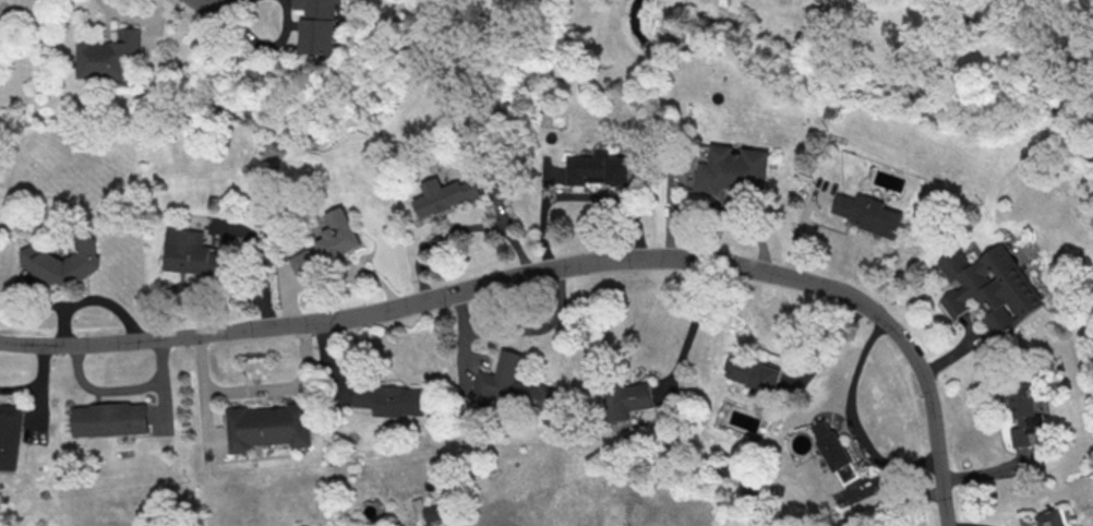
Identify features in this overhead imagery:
building: (326, 25)
building: (2, 31)
building: (110, 56)
building: (601, 168)
building: (732, 171)
building: (448, 195)
building: (866, 215)
building: (331, 243)
building: (193, 253)
building: (62, 263)
road: (556, 268)
building: (987, 285)
road: (824, 345)
building: (753, 372)
road: (255, 387)
building: (506, 390)
building: (389, 399)
building: (629, 399)
building: (1022, 413)
road: (851, 416)
building: (109, 420)
building: (267, 427)
building: (9, 434)
building: (830, 444)
building: (429, 511)
building: (1048, 518)
road: (963, 525)

